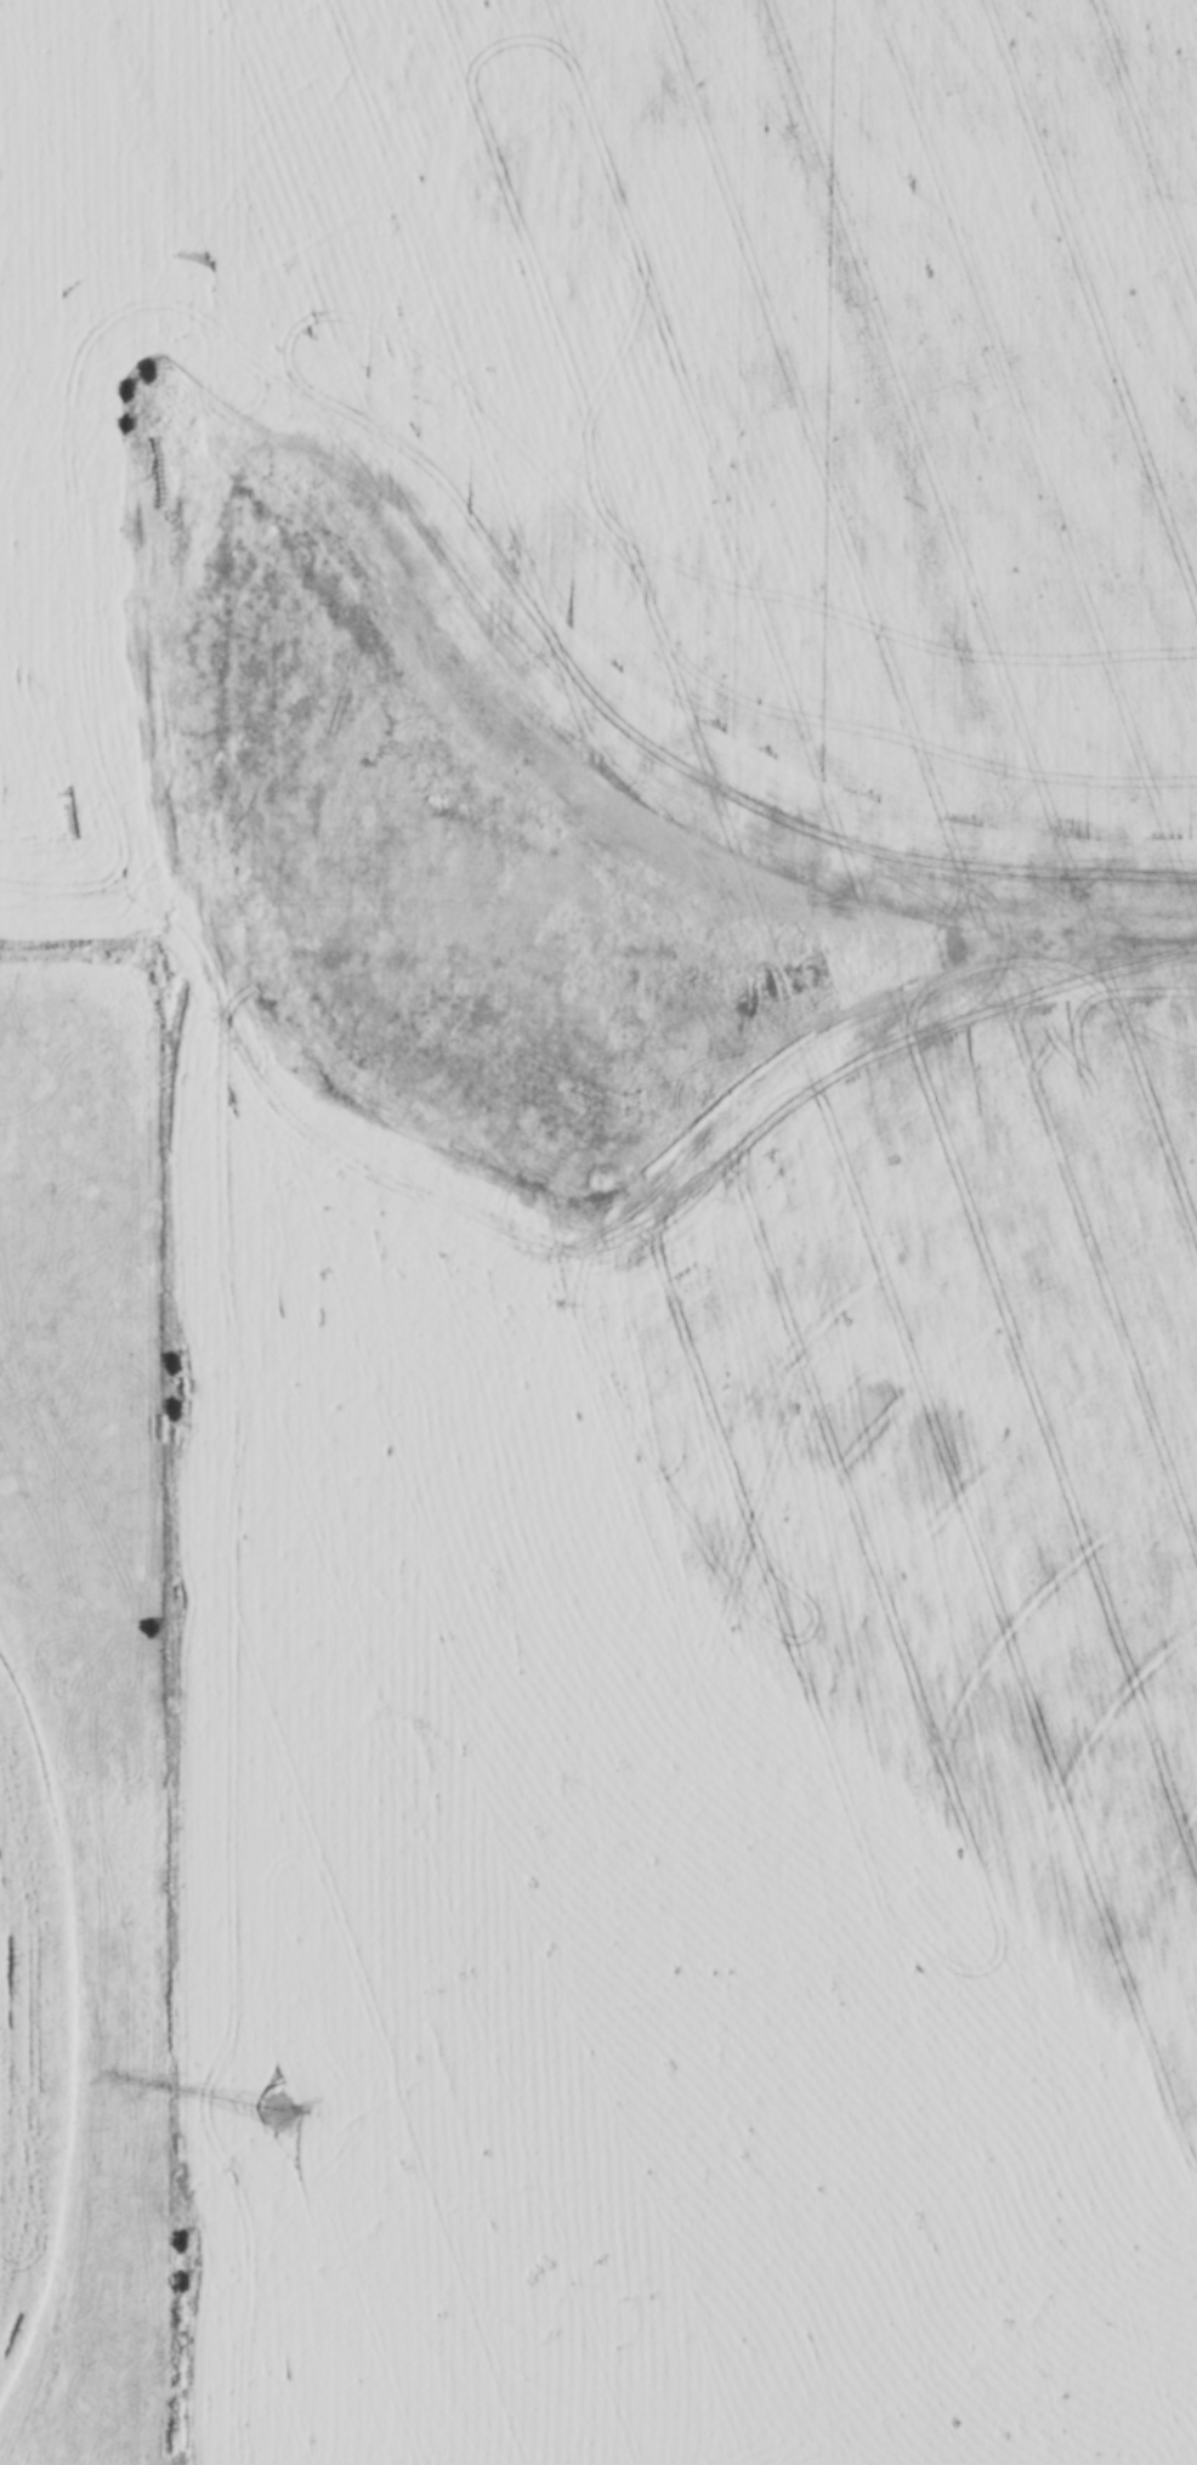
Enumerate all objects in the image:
power tower: (271, 2113)

